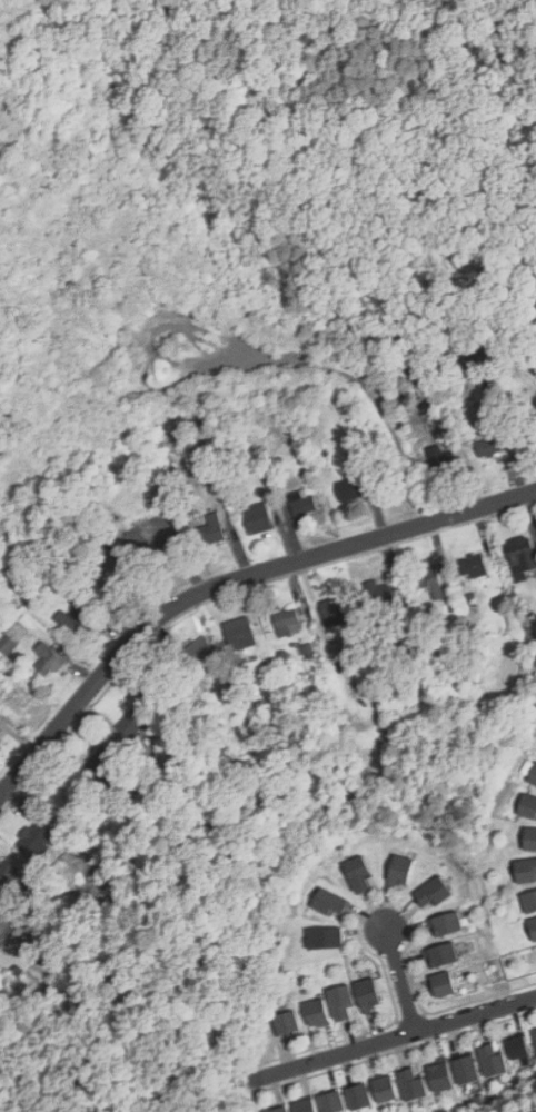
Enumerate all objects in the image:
building: (529, 436)
building: (489, 446)
building: (193, 457)
building: (441, 461)
building: (349, 488)
building: (302, 503)
building: (257, 518)
building: (212, 529)
building: (162, 552)
building: (519, 552)
building: (474, 566)
building: (429, 580)
road: (229, 582)
building: (112, 586)
building: (379, 595)
building: (336, 613)
building: (80, 622)
building: (287, 623)
building: (242, 629)
building: (7, 644)
building: (309, 651)
building: (205, 653)
building: (48, 659)
building: (161, 685)
building: (131, 723)
building: (1, 733)
building: (101, 761)
building: (534, 780)
building: (528, 805)
building: (33, 838)
building: (529, 840)
building: (525, 870)
building: (8, 872)
building: (399, 872)
building: (358, 873)
building: (431, 893)
building: (529, 901)
building: (329, 902)
building: (1, 912)
building: (446, 923)
building: (533, 927)
building: (6, 930)
building: (325, 937)
building: (440, 954)
road: (401, 981)
building: (443, 983)
building: (368, 993)
building: (341, 1000)
building: (317, 1012)
building: (286, 1022)
road: (394, 1040)
building: (520, 1045)
building: (494, 1059)
building: (467, 1069)
building: (441, 1076)
building: (415, 1084)
building: (387, 1088)
building: (360, 1095)
building: (332, 1102)
building: (306, 1105)
building: (279, 1109)

